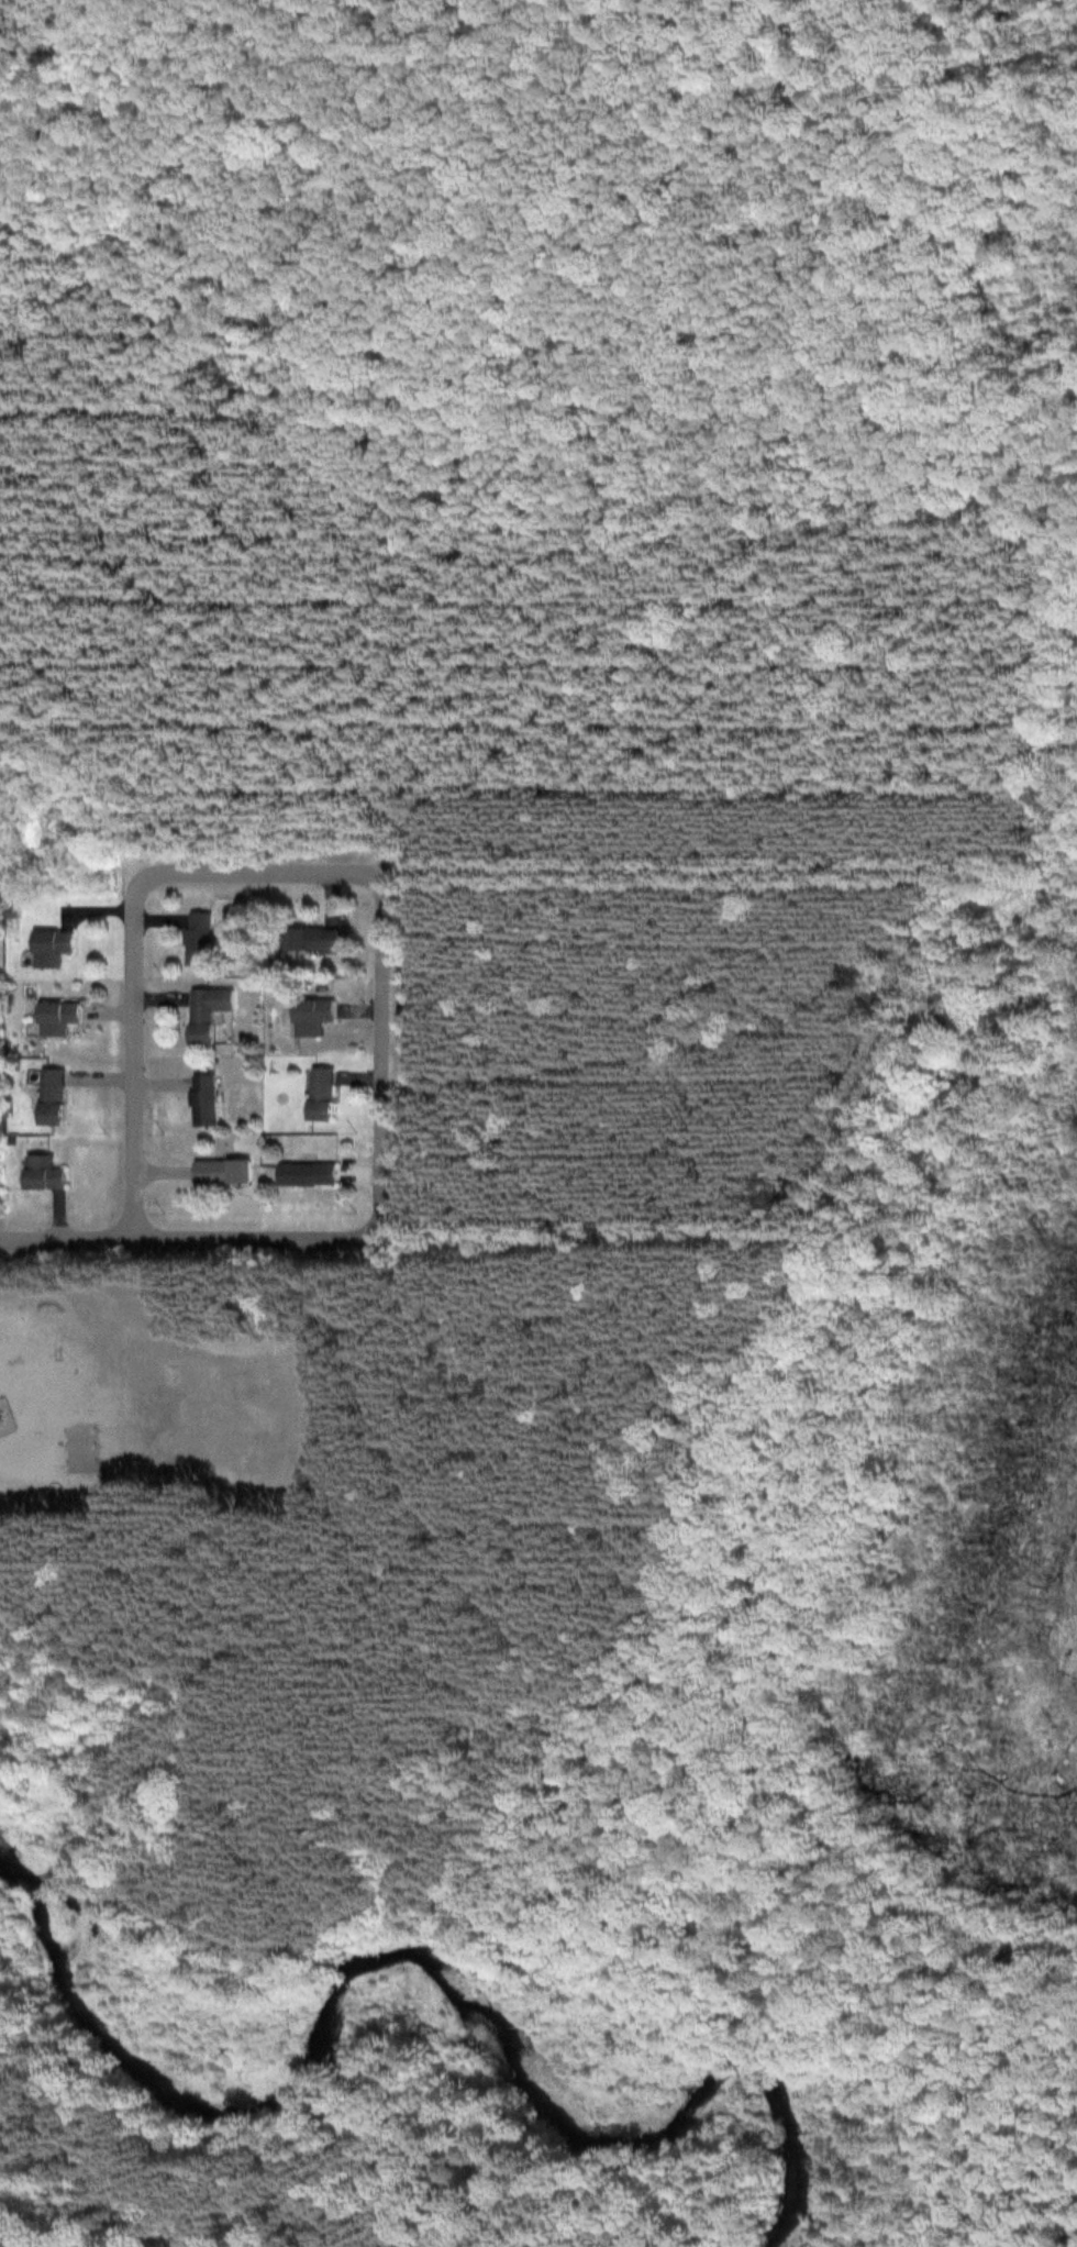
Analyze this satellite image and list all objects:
road: (244, 146)
road: (1047, 656)
road: (429, 838)
road: (412, 861)
road: (262, 872)
building: (196, 938)
building: (310, 940)
building: (48, 948)
building: (204, 1014)
building: (311, 1017)
building: (54, 1018)
road: (390, 1056)
road: (132, 1058)
building: (321, 1094)
building: (48, 1096)
building: (202, 1100)
building: (220, 1172)
building: (41, 1173)
building: (307, 1174)
road: (192, 1239)
road: (611, 1781)
road: (7, 2106)
road: (64, 2168)
road: (142, 2246)

